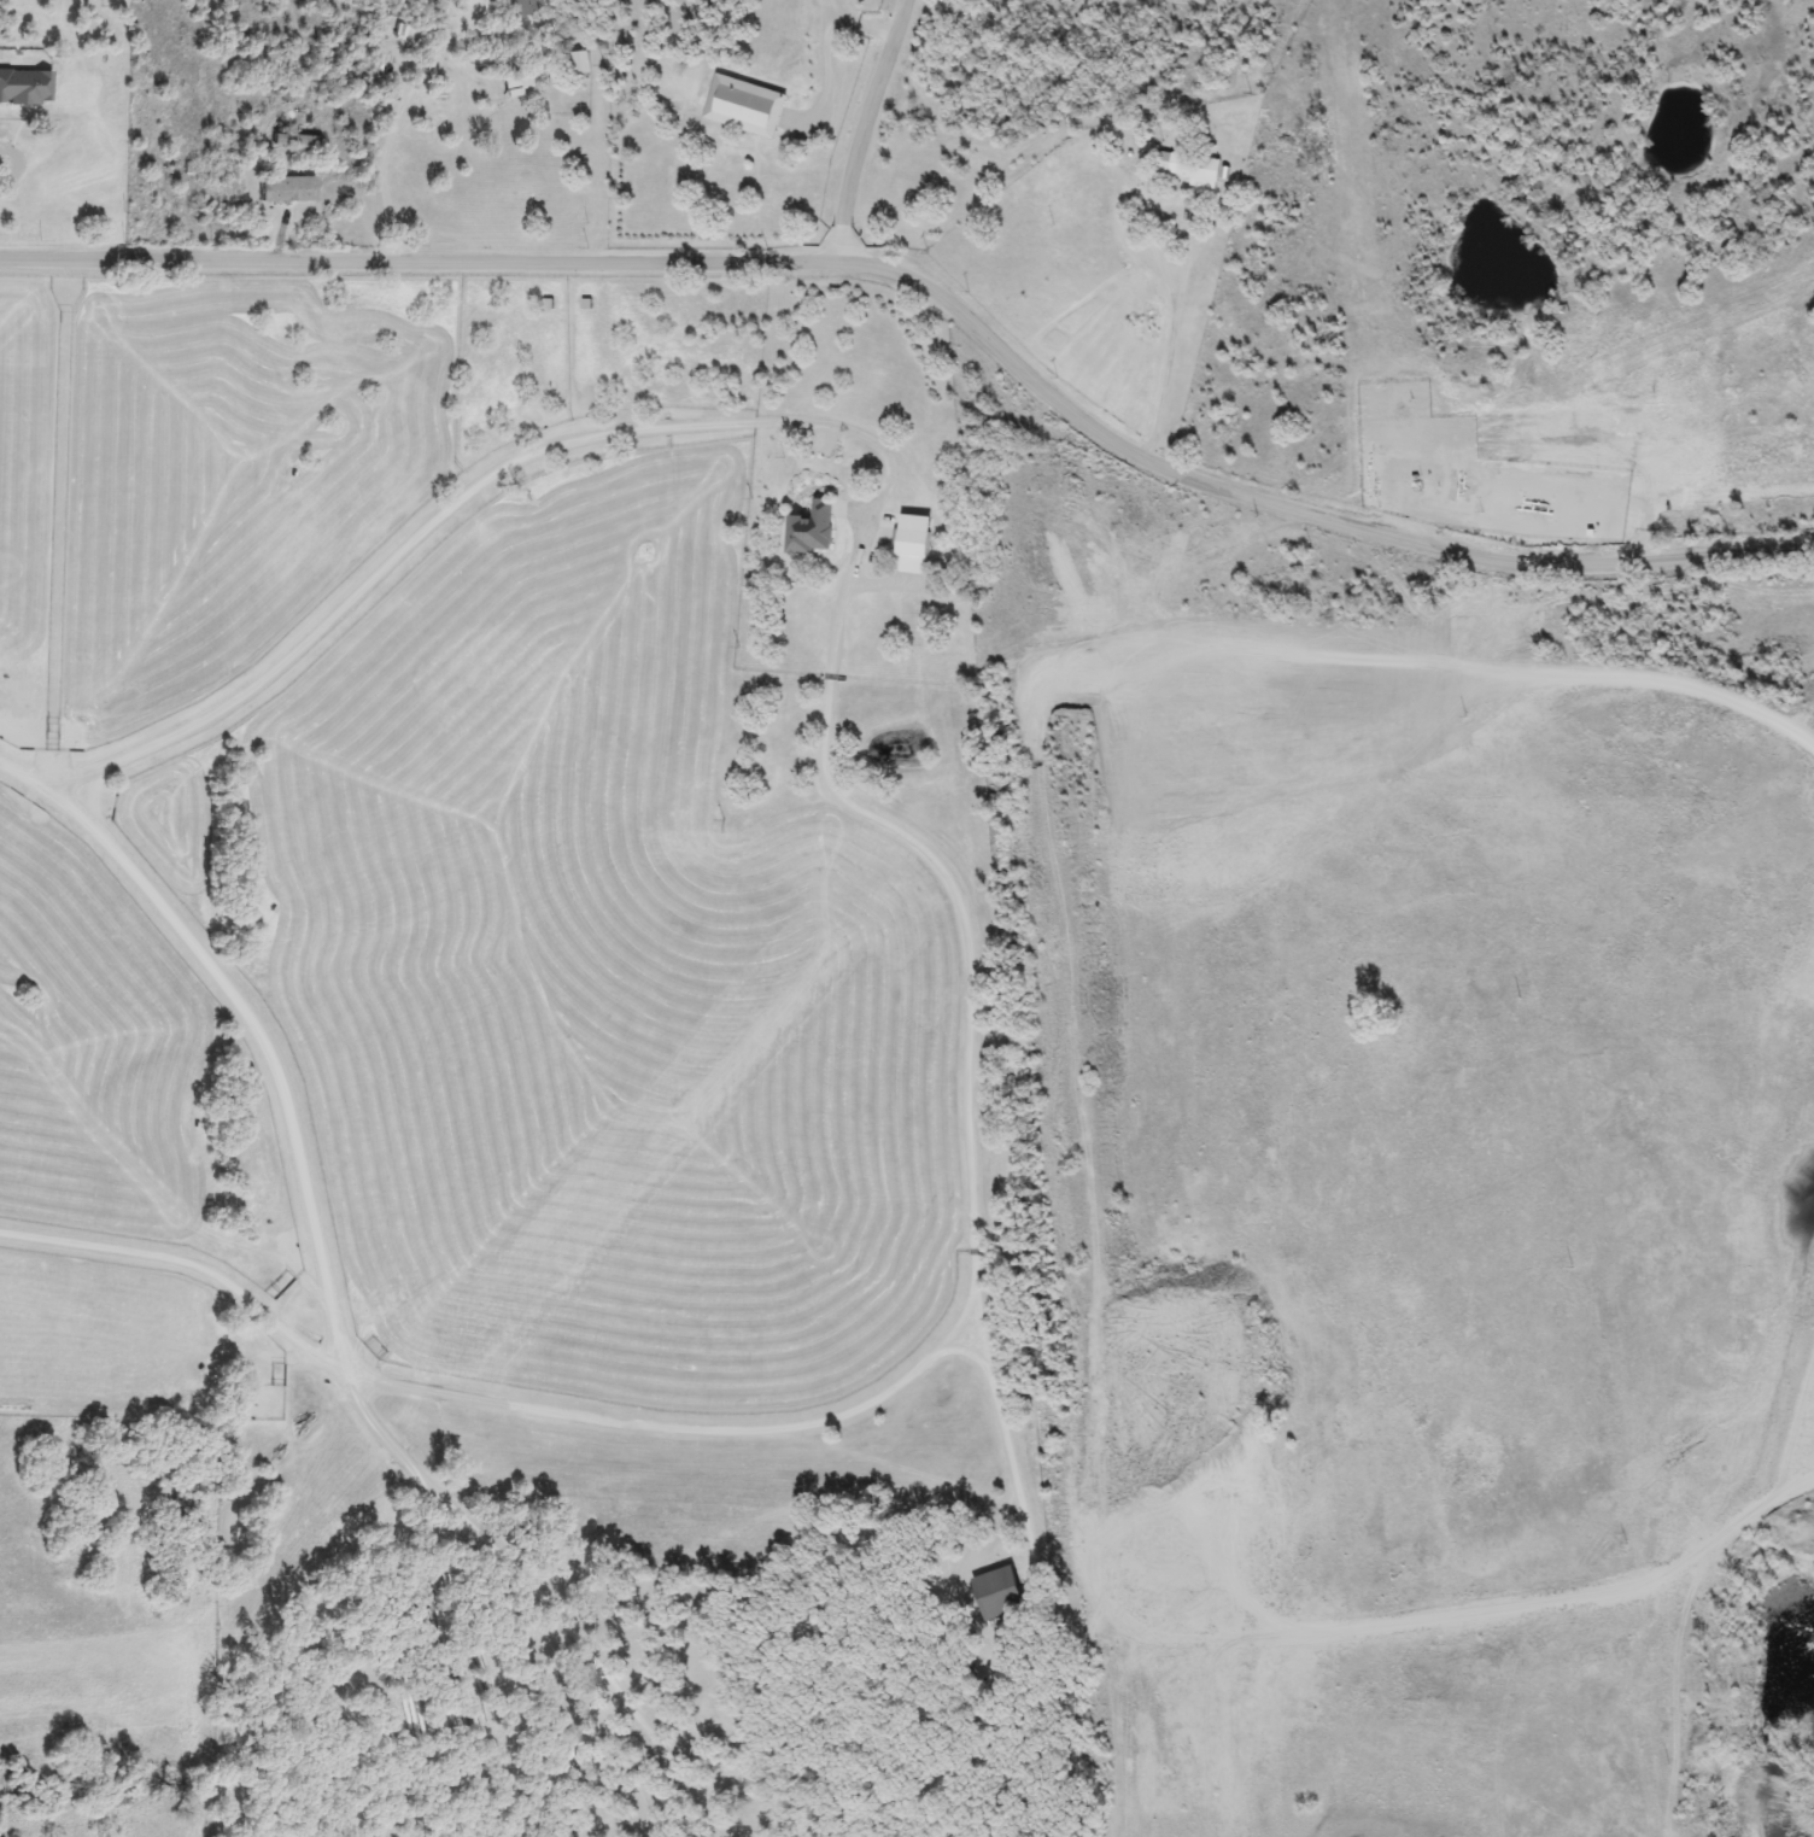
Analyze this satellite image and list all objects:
building: (517, 7)
road: (827, 55)
building: (578, 65)
building: (515, 83)
road: (858, 133)
building: (293, 142)
road: (384, 158)
building: (1186, 166)
building: (283, 189)
road: (1181, 293)
road: (935, 303)
building: (1523, 441)
building: (1611, 456)
road: (443, 505)
building: (807, 530)
building: (909, 551)
building: (905, 613)
road: (953, 894)
road: (186, 1259)
road: (332, 1327)
road: (790, 1423)
building: (994, 1592)

